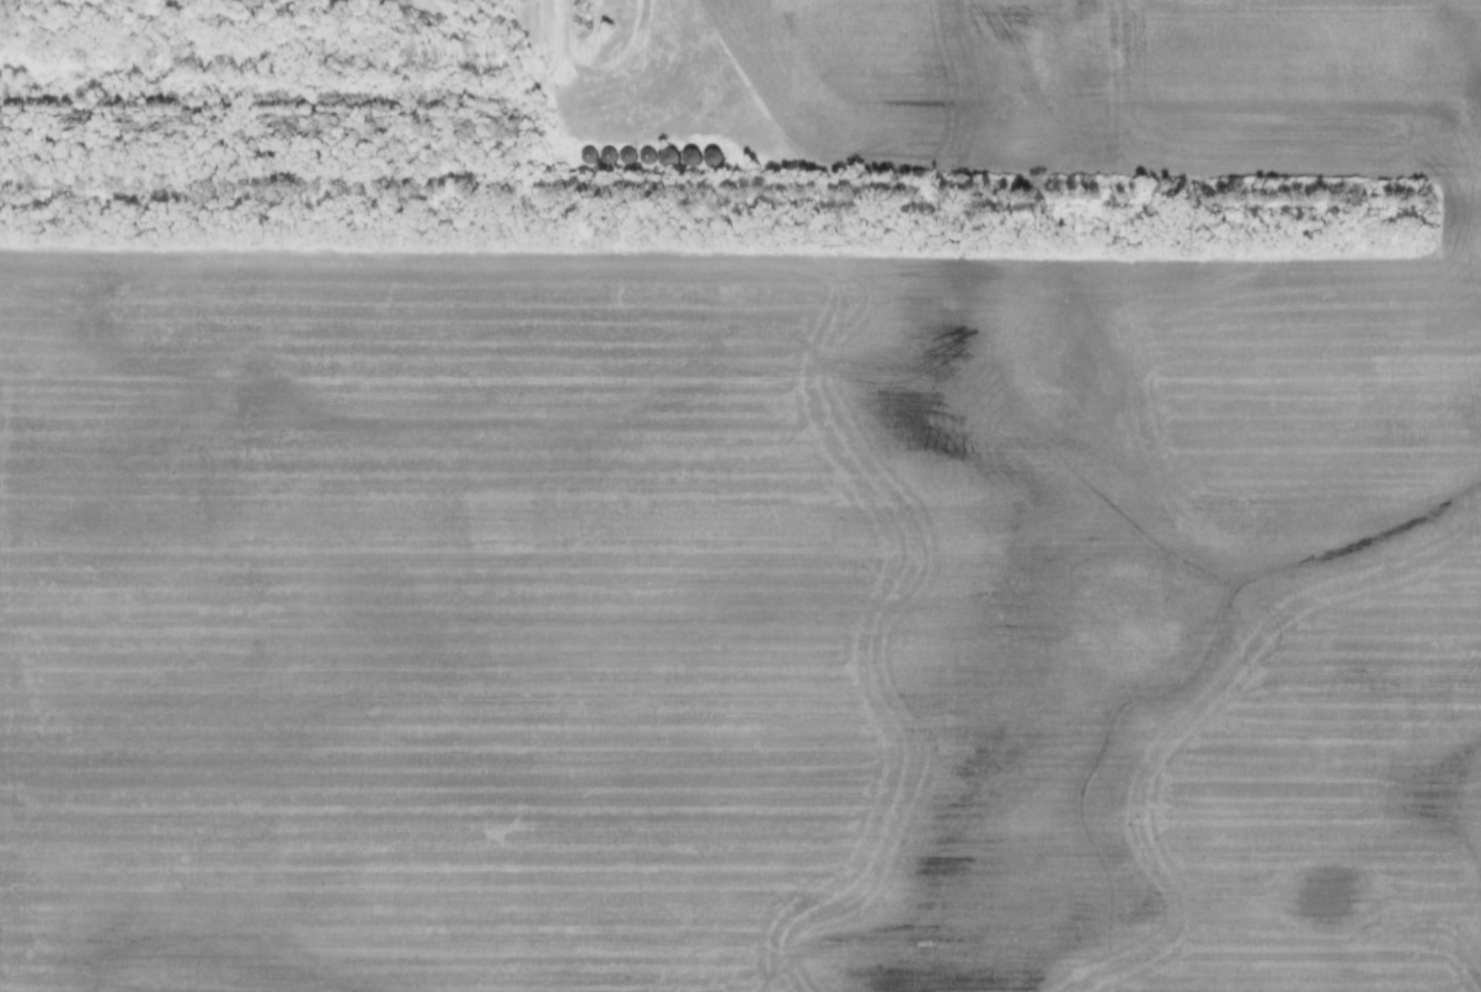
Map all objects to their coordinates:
road: (599, 68)

